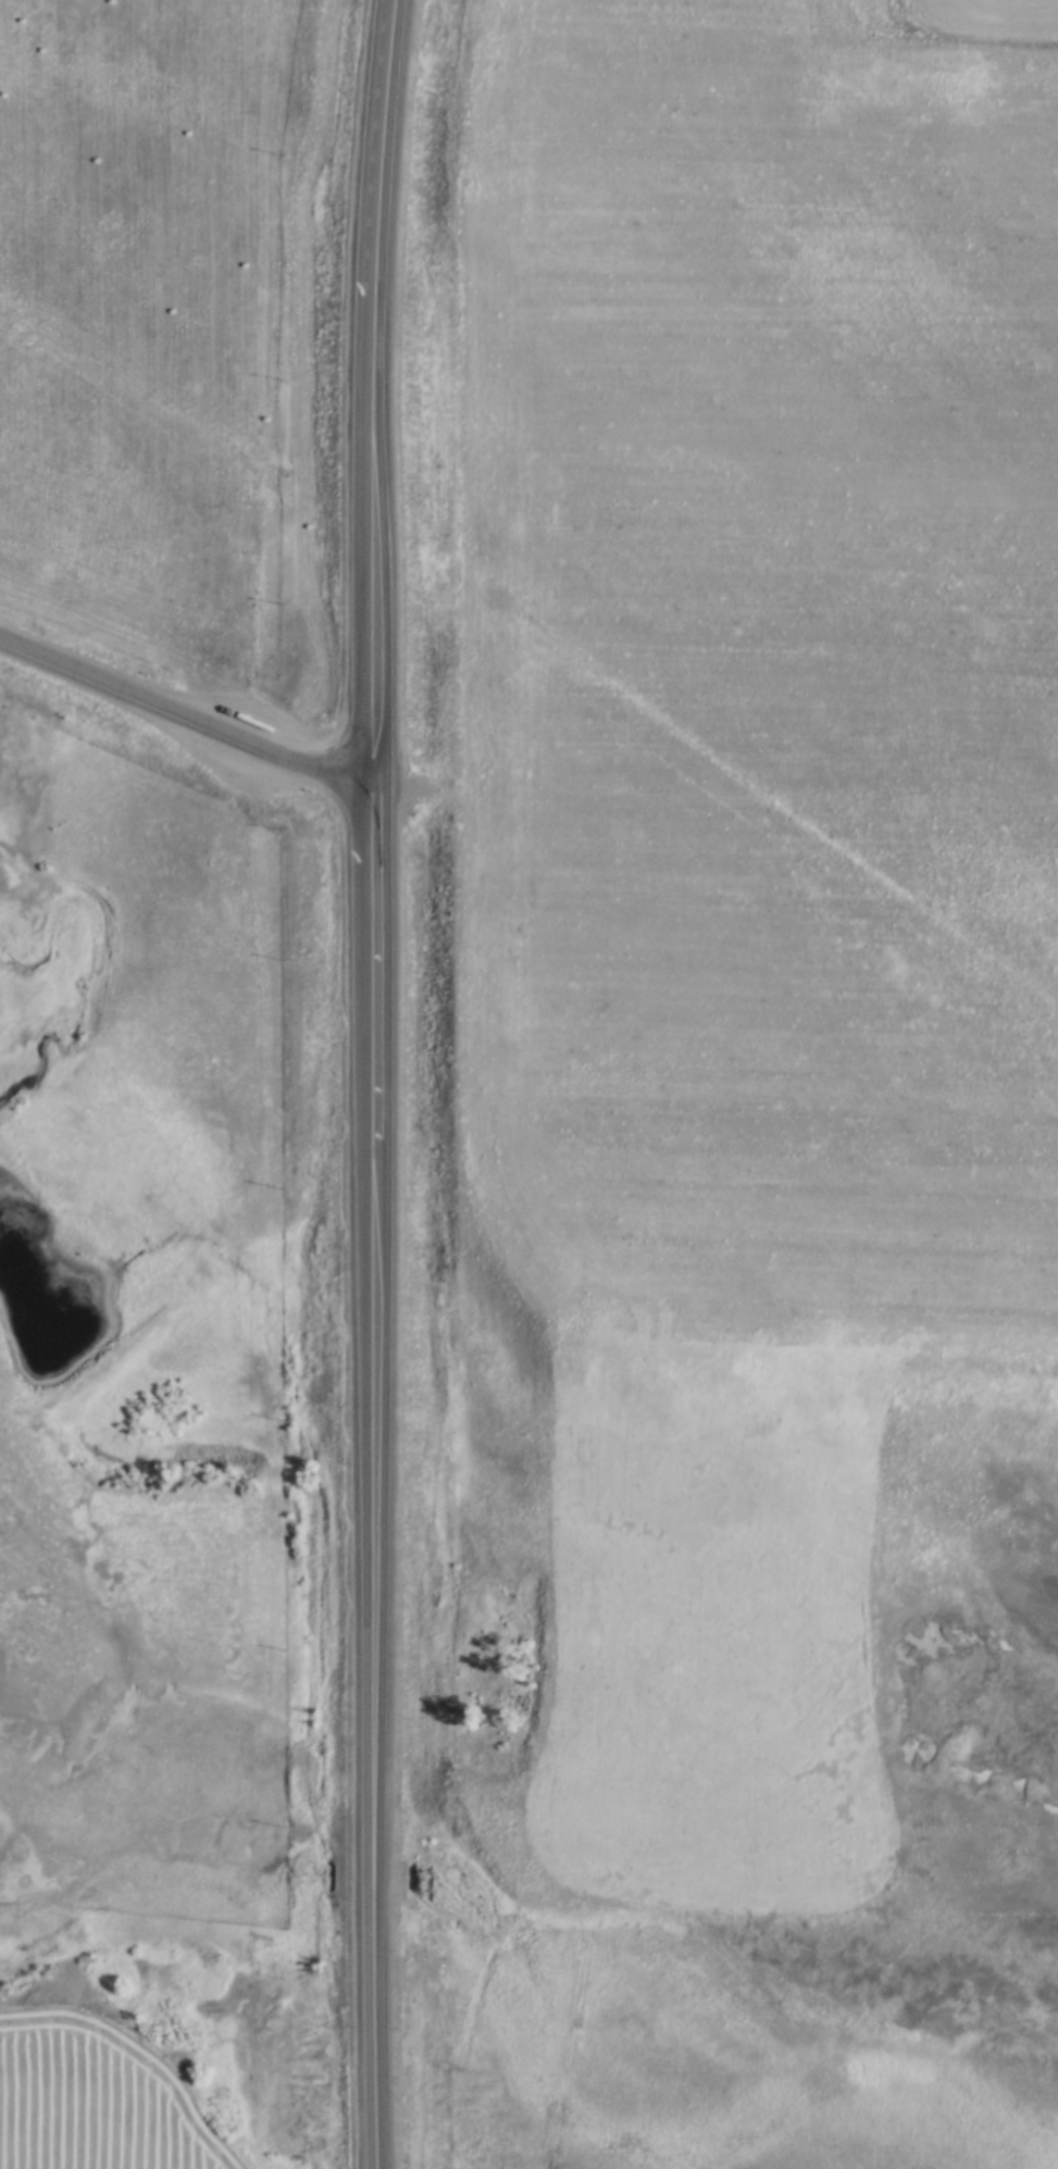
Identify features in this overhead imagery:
road: (185, 719)
road: (372, 1084)
road: (151, 2093)

